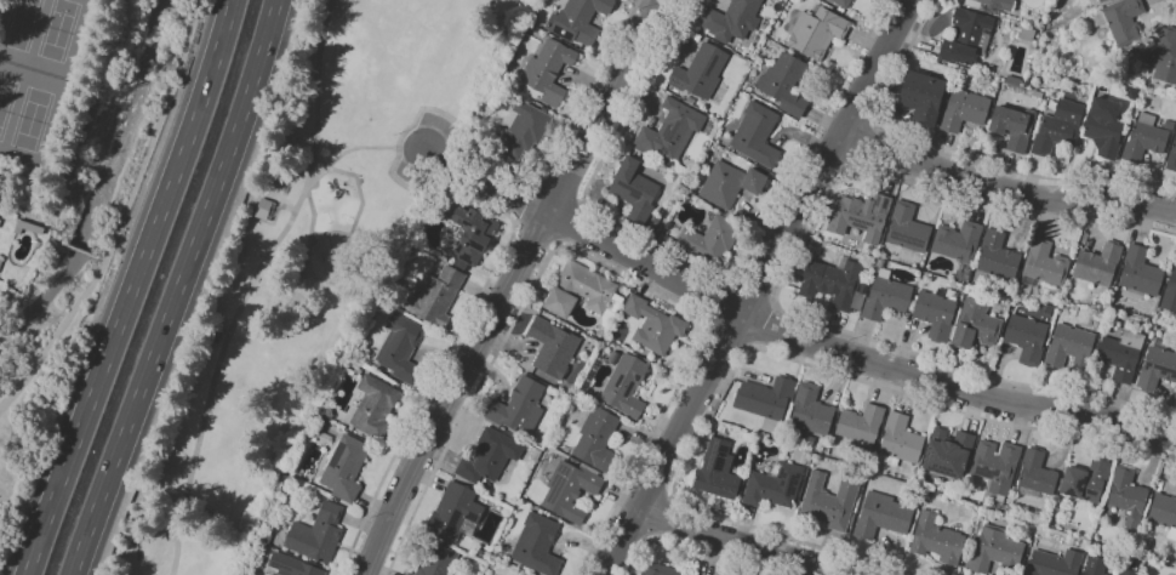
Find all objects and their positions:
building: (1102, 1)
building: (843, 2)
building: (991, 4)
road: (1170, 4)
building: (731, 19)
building: (578, 21)
building: (1120, 21)
building: (817, 30)
park: (41, 33)
building: (966, 38)
building: (1163, 52)
building: (1136, 55)
building: (702, 70)
building: (548, 72)
building: (786, 81)
building: (1014, 81)
building: (1037, 93)
park: (50, 95)
building: (921, 96)
building: (963, 109)
park: (27, 112)
building: (1168, 124)
road: (571, 126)
building: (1012, 126)
building: (1057, 127)
building: (1103, 127)
building: (524, 130)
building: (672, 130)
road: (97, 133)
building: (757, 135)
building: (1144, 138)
road: (861, 142)
road: (358, 149)
road: (955, 152)
building: (1171, 156)
road: (486, 181)
building: (731, 183)
road: (561, 188)
building: (635, 189)
road: (1005, 193)
road: (284, 206)
building: (262, 207)
road: (120, 215)
building: (861, 216)
building: (0, 221)
road: (572, 222)
road: (53, 223)
building: (28, 227)
building: (908, 228)
building: (470, 233)
road: (537, 233)
building: (712, 238)
building: (958, 240)
road: (78, 250)
building: (998, 255)
road: (95, 257)
building: (1, 262)
road: (593, 262)
road: (696, 262)
road: (649, 263)
building: (1043, 264)
park: (302, 266)
building: (1097, 266)
road: (789, 268)
building: (1140, 272)
building: (963, 273)
road: (251, 284)
building: (834, 284)
road: (515, 285)
road: (131, 287)
road: (759, 287)
road: (177, 289)
road: (753, 290)
building: (1061, 291)
building: (584, 292)
building: (1170, 292)
building: (436, 296)
building: (886, 296)
road: (719, 298)
building: (937, 313)
building: (655, 325)
building: (976, 325)
road: (765, 326)
road: (729, 335)
building: (1027, 337)
building: (401, 346)
building: (1071, 346)
building: (553, 347)
road: (758, 349)
building: (1120, 354)
road: (445, 363)
building: (1157, 369)
building: (627, 385)
road: (957, 387)
building: (766, 400)
building: (516, 404)
building: (375, 405)
building: (810, 411)
building: (862, 425)
building: (723, 428)
building: (335, 429)
building: (598, 439)
building: (900, 440)
building: (949, 451)
building: (490, 455)
building: (997, 463)
building: (346, 467)
building: (718, 471)
building: (1035, 473)
building: (1086, 483)
building: (773, 484)
building: (571, 489)
building: (1129, 495)
building: (829, 501)
building: (456, 512)
building: (1164, 512)
building: (883, 514)
building: (318, 534)
building: (937, 539)
road: (742, 542)
building: (537, 543)
building: (995, 551)
road: (684, 552)
building: (436, 560)
building: (1055, 563)
building: (293, 565)
building: (1096, 565)
building: (658, 569)
building: (1129, 571)
building: (1149, 574)

